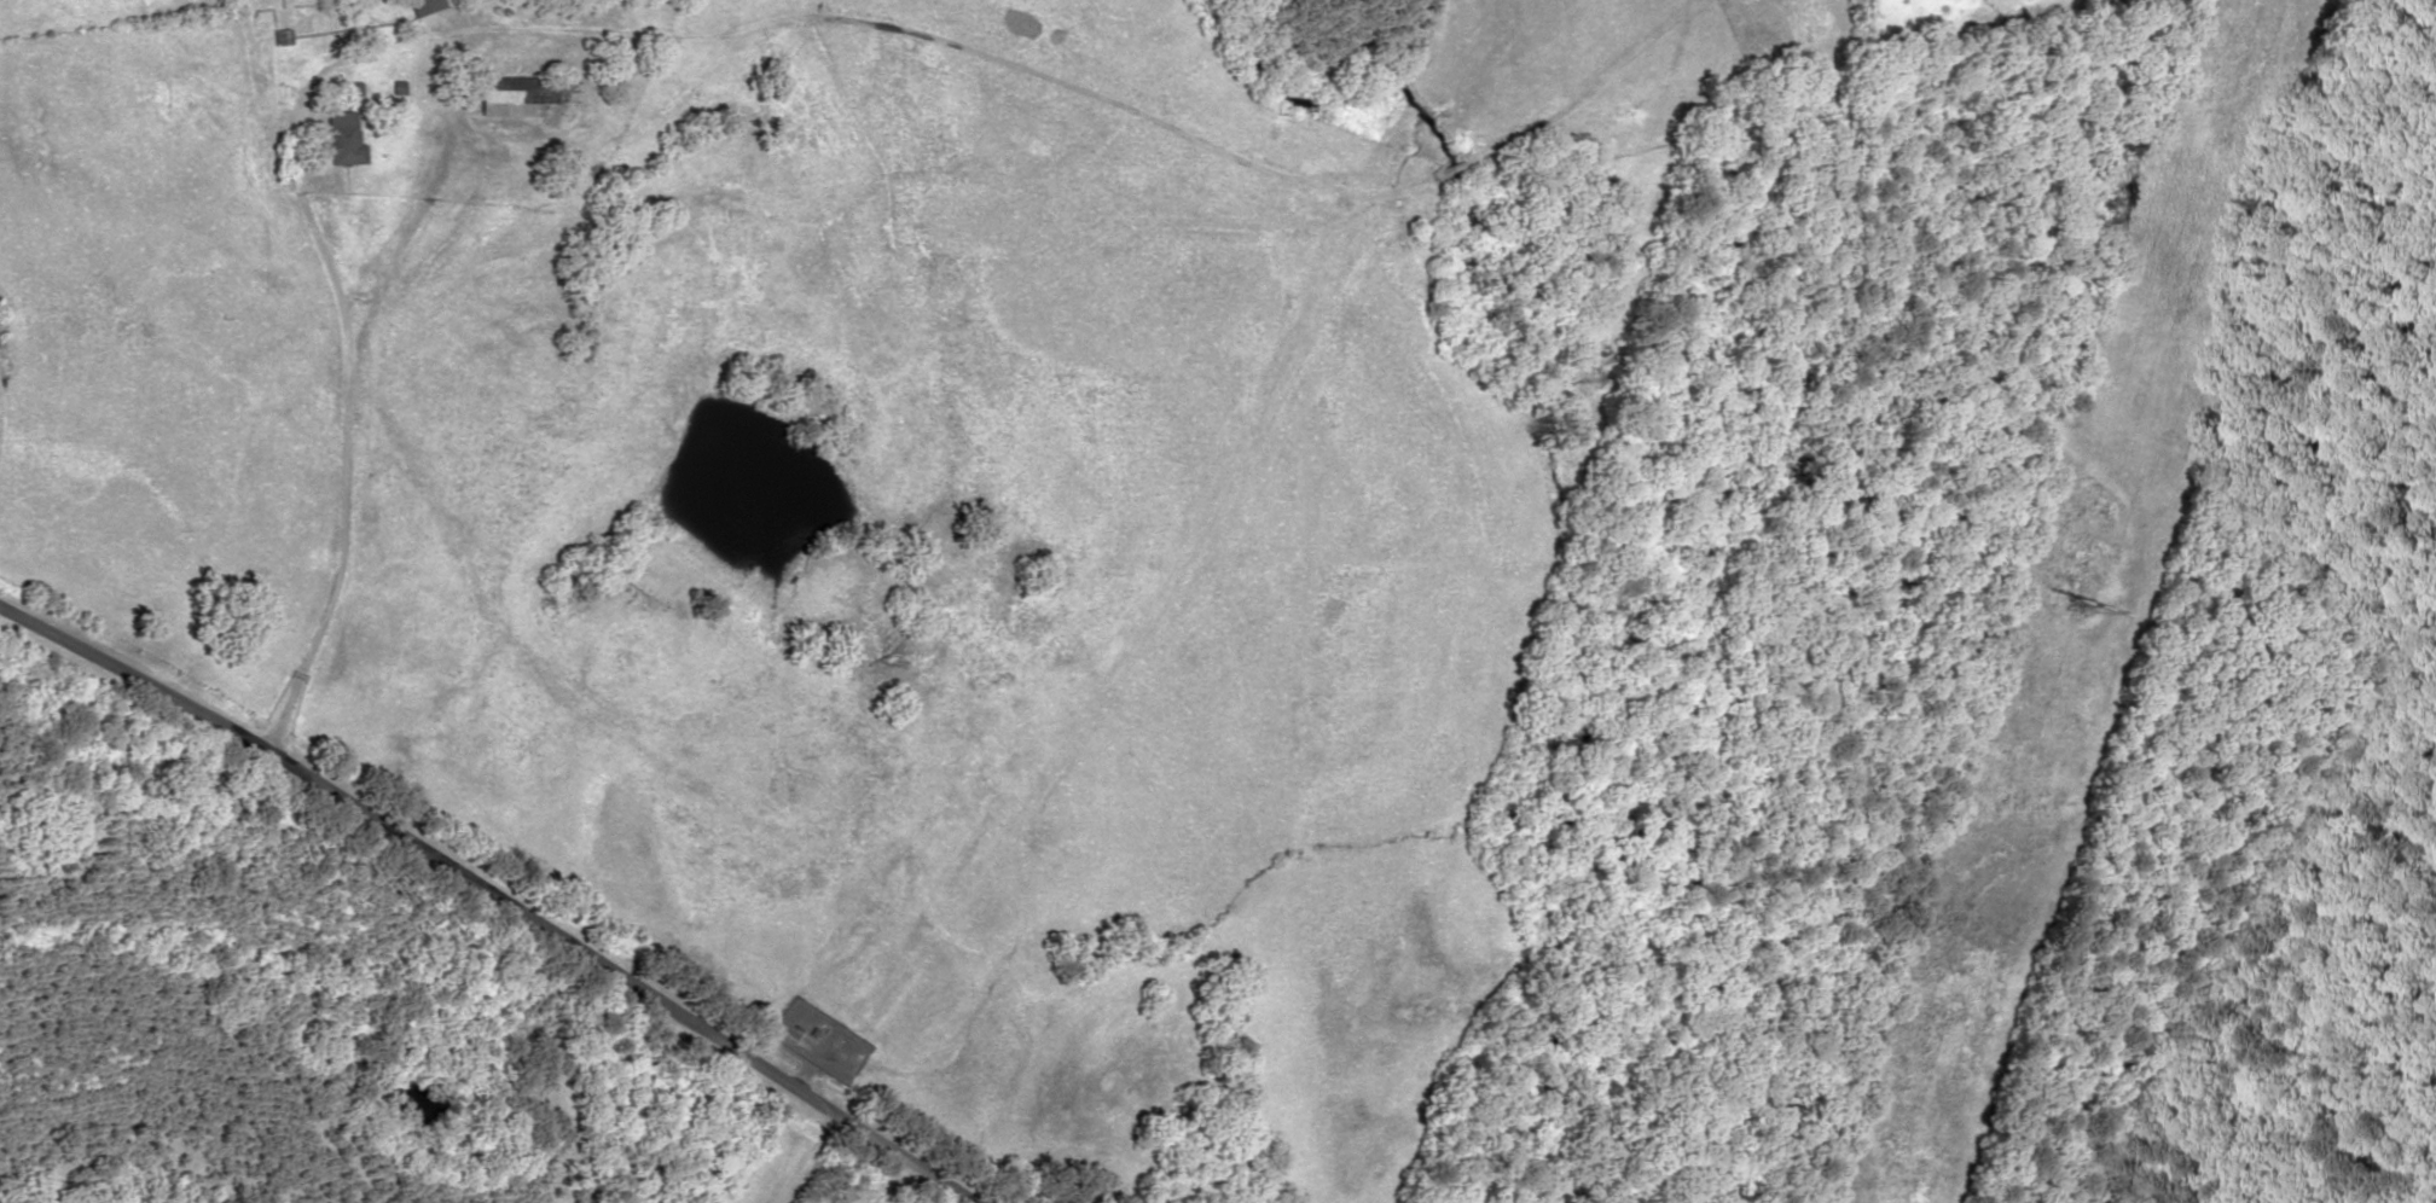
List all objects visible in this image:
building: (425, 6)
building: (524, 95)
building: (342, 139)
road: (359, 466)
power tower: (2067, 593)
road: (327, 781)
road: (631, 1089)
road: (808, 1096)

